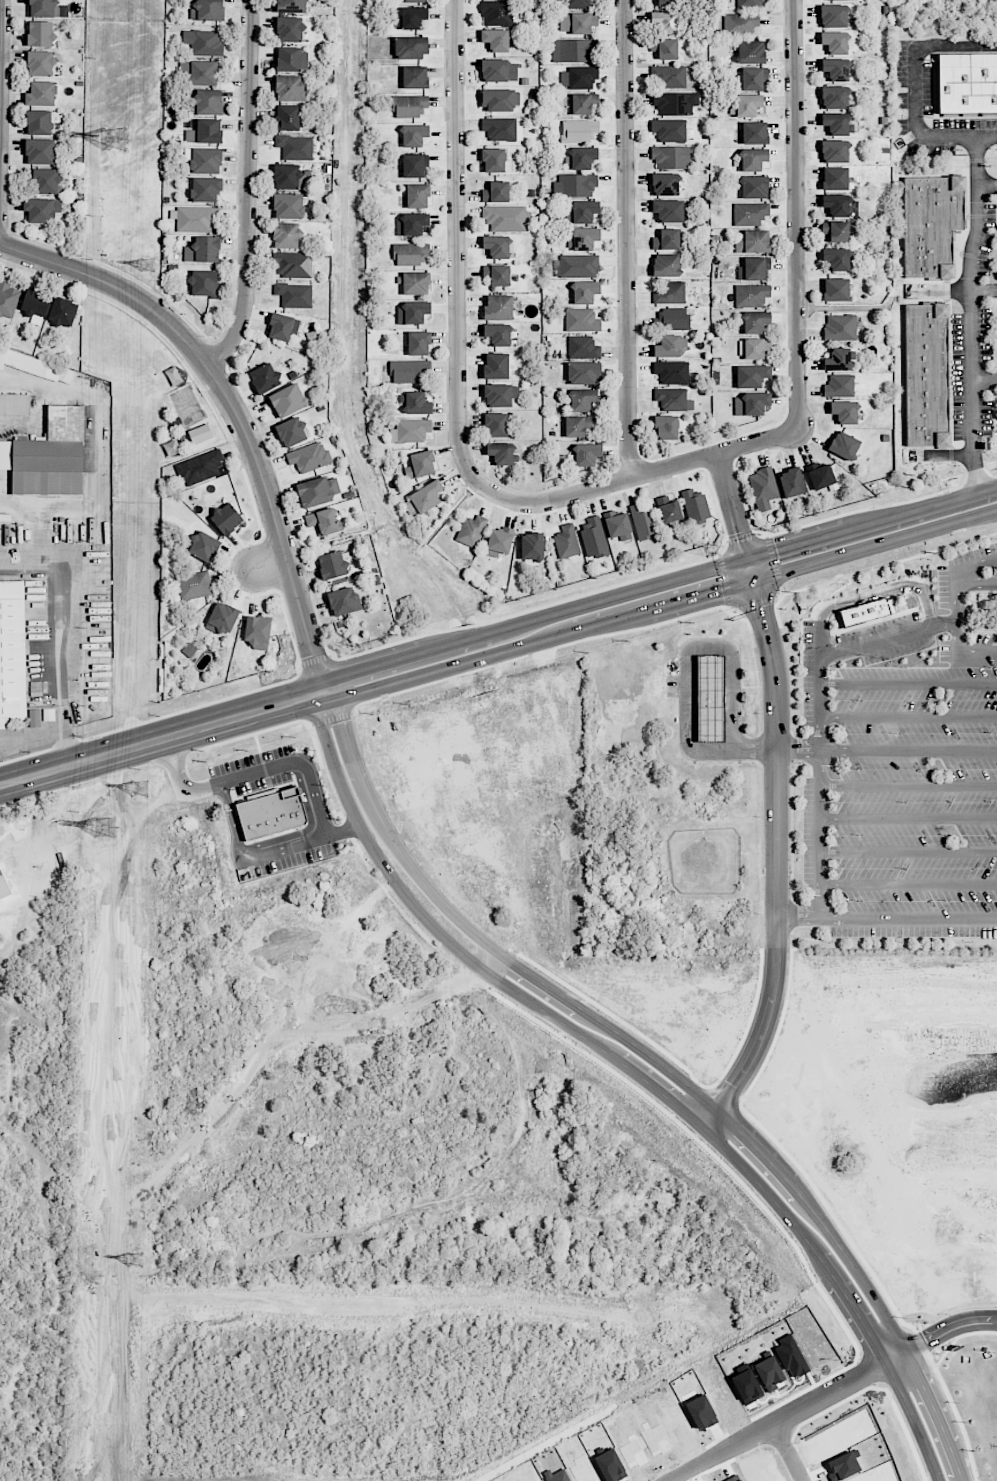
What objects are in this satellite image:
building: (841, 0)
building: (413, 1)
building: (577, 3)
building: (665, 3)
building: (748, 4)
building: (291, 6)
building: (43, 8)
building: (207, 10)
building: (496, 12)
building: (833, 15)
building: (410, 17)
building: (577, 22)
building: (665, 22)
building: (739, 24)
building: (288, 29)
building: (40, 33)
building: (495, 39)
building: (203, 41)
building: (834, 41)
building: (411, 47)
building: (664, 48)
building: (573, 50)
building: (750, 52)
building: (291, 59)
building: (40, 63)
building: (494, 69)
building: (835, 69)
building: (203, 73)
building: (669, 76)
building: (414, 77)
building: (578, 77)
building: (752, 78)
building: (967, 82)
parking lot: (903, 84)
parking lot: (928, 87)
building: (289, 88)
road: (916, 90)
building: (41, 94)
building: (834, 97)
road: (2, 100)
building: (497, 100)
building: (206, 101)
building: (583, 103)
building: (675, 103)
building: (409, 105)
building: (747, 105)
building: (286, 117)
building: (38, 122)
parking lot: (965, 122)
building: (834, 123)
building: (499, 129)
building: (668, 129)
building: (578, 130)
building: (204, 131)
building: (754, 132)
building: (413, 135)
power tower: (118, 136)
building: (294, 146)
parking lot: (932, 149)
building: (40, 151)
building: (833, 151)
building: (670, 157)
building: (752, 159)
building: (205, 160)
building: (493, 160)
building: (413, 166)
building: (287, 177)
building: (833, 178)
building: (45, 181)
building: (664, 183)
building: (574, 185)
building: (753, 186)
road: (988, 187)
building: (205, 189)
road: (243, 189)
building: (495, 192)
building: (416, 196)
building: (835, 205)
building: (288, 206)
building: (41, 209)
building: (667, 210)
building: (581, 211)
building: (749, 213)
road: (797, 214)
building: (504, 217)
building: (196, 219)
building: (930, 222)
building: (411, 223)
building: (835, 230)
building: (285, 235)
parking lot: (989, 235)
building: (583, 238)
building: (666, 239)
road: (626, 240)
building: (751, 241)
building: (496, 246)
road: (457, 247)
building: (202, 250)
building: (410, 253)
building: (835, 258)
building: (292, 264)
building: (665, 265)
power tower: (147, 266)
building: (575, 266)
building: (753, 268)
building: (496, 274)
building: (203, 283)
building: (414, 283)
building: (834, 289)
road: (984, 289)
building: (584, 291)
building: (669, 293)
building: (294, 295)
building: (750, 295)
building: (8, 298)
building: (34, 302)
building: (498, 307)
building: (62, 312)
building: (412, 312)
road: (971, 313)
building: (671, 319)
building: (581, 320)
building: (755, 321)
building: (282, 326)
building: (839, 327)
parking lot: (986, 333)
building: (497, 334)
building: (418, 343)
building: (582, 346)
building: (667, 346)
building: (755, 347)
building: (836, 359)
building: (35, 365)
building: (495, 366)
building: (407, 370)
building: (582, 372)
building: (672, 372)
building: (926, 373)
building: (751, 375)
parking lot: (959, 376)
building: (264, 378)
road: (985, 379)
building: (838, 385)
building: (497, 395)
building: (670, 398)
building: (580, 399)
building: (287, 400)
building: (416, 403)
building: (14, 404)
building: (751, 404)
park: (175, 407)
road: (232, 411)
building: (843, 411)
parking lot: (987, 416)
road: (96, 425)
building: (494, 425)
building: (576, 425)
building: (664, 427)
building: (411, 430)
building: (291, 432)
building: (199, 434)
building: (843, 445)
building: (500, 453)
building: (586, 454)
building: (48, 455)
building: (308, 457)
building: (419, 464)
building: (198, 467)
building: (819, 475)
road: (640, 477)
building: (790, 482)
building: (762, 487)
building: (317, 490)
building: (425, 496)
road: (951, 499)
road: (20, 503)
building: (694, 505)
road: (734, 506)
building: (667, 509)
road: (857, 510)
building: (224, 518)
building: (642, 521)
road: (875, 522)
building: (617, 525)
traffic signals: (741, 530)
building: (470, 531)
building: (593, 537)
road: (740, 538)
building: (498, 541)
building: (565, 541)
road: (795, 545)
building: (203, 546)
building: (531, 546)
traffic signals: (776, 551)
road: (19, 554)
road: (977, 563)
road: (774, 564)
road: (888, 564)
building: (331, 565)
road: (270, 566)
road: (977, 581)
building: (193, 585)
traffic signals: (721, 589)
road: (838, 589)
road: (884, 589)
building: (343, 601)
road: (755, 601)
road: (541, 606)
road: (660, 606)
traffic signals: (760, 608)
road: (958, 610)
building: (862, 611)
building: (222, 617)
road: (532, 620)
road: (66, 625)
building: (256, 630)
road: (601, 635)
road: (889, 636)
building: (12, 651)
road: (977, 651)
traffic signals: (312, 654)
road: (315, 660)
road: (686, 670)
traffic signals: (349, 673)
road: (908, 682)
building: (709, 697)
gas station: (709, 697)
traffic signals: (291, 701)
road: (189, 708)
road: (254, 711)
road: (908, 715)
building: (34, 718)
road: (331, 719)
traffic signals: (340, 720)
road: (34, 736)
road: (165, 737)
road: (127, 748)
road: (760, 748)
road: (798, 749)
road: (908, 749)
parking lot: (902, 754)
road: (180, 755)
road: (164, 759)
road: (261, 761)
road: (820, 767)
road: (54, 770)
road: (310, 778)
road: (908, 784)
power tower: (140, 790)
building: (271, 813)
road: (231, 818)
road: (908, 818)
power tower: (107, 826)
road: (307, 828)
road: (343, 831)
road: (908, 850)
road: (776, 852)
road: (94, 853)
road: (908, 883)
building: (3, 887)
road: (797, 913)
road: (907, 917)
road: (886, 976)
road: (496, 994)
road: (738, 1045)
road: (662, 1065)
road: (760, 1068)
road: (633, 1074)
road: (841, 1181)
road: (910, 1212)
road: (938, 1249)
road: (976, 1249)
power tower: (137, 1261)
road: (939, 1332)
road: (780, 1420)
road: (791, 1451)

